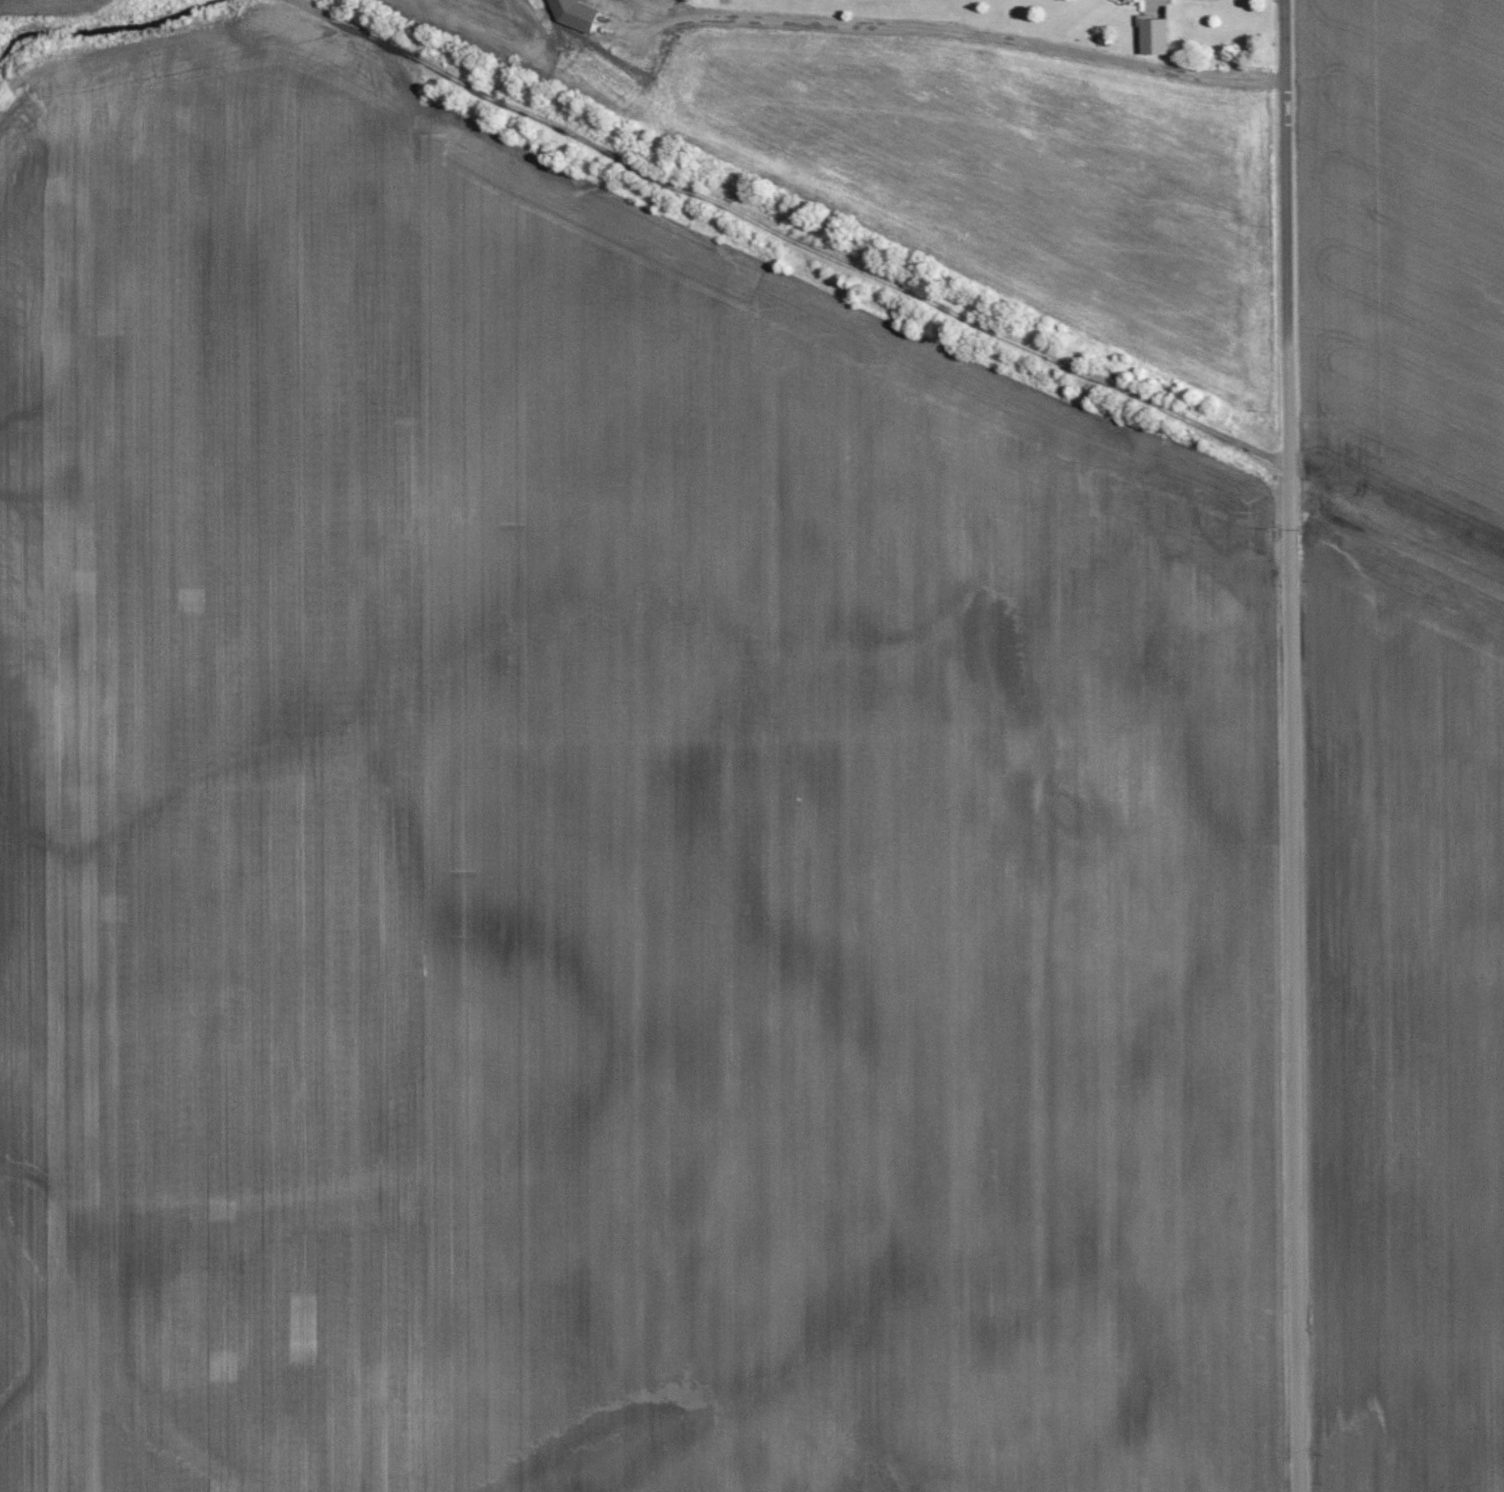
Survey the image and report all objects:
road: (1290, 746)

